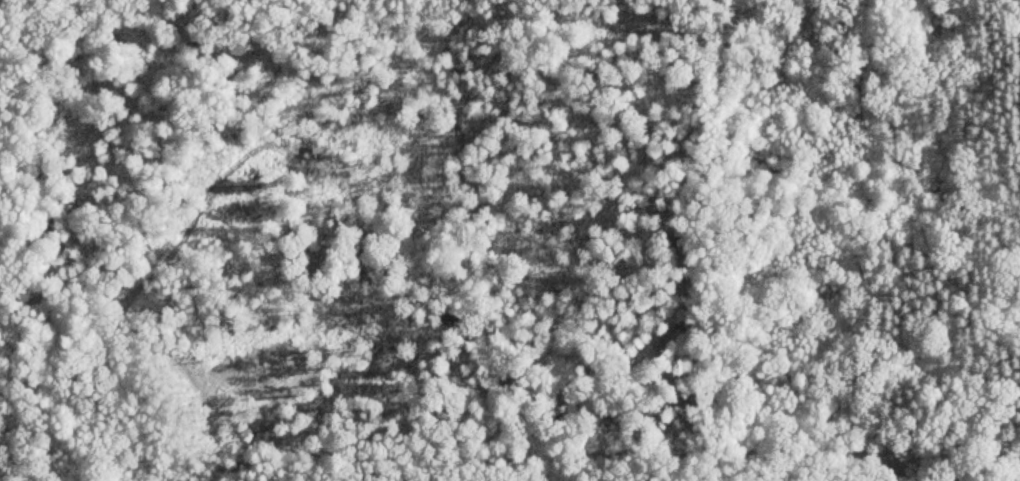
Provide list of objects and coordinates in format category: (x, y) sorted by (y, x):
road: (77, 259)

